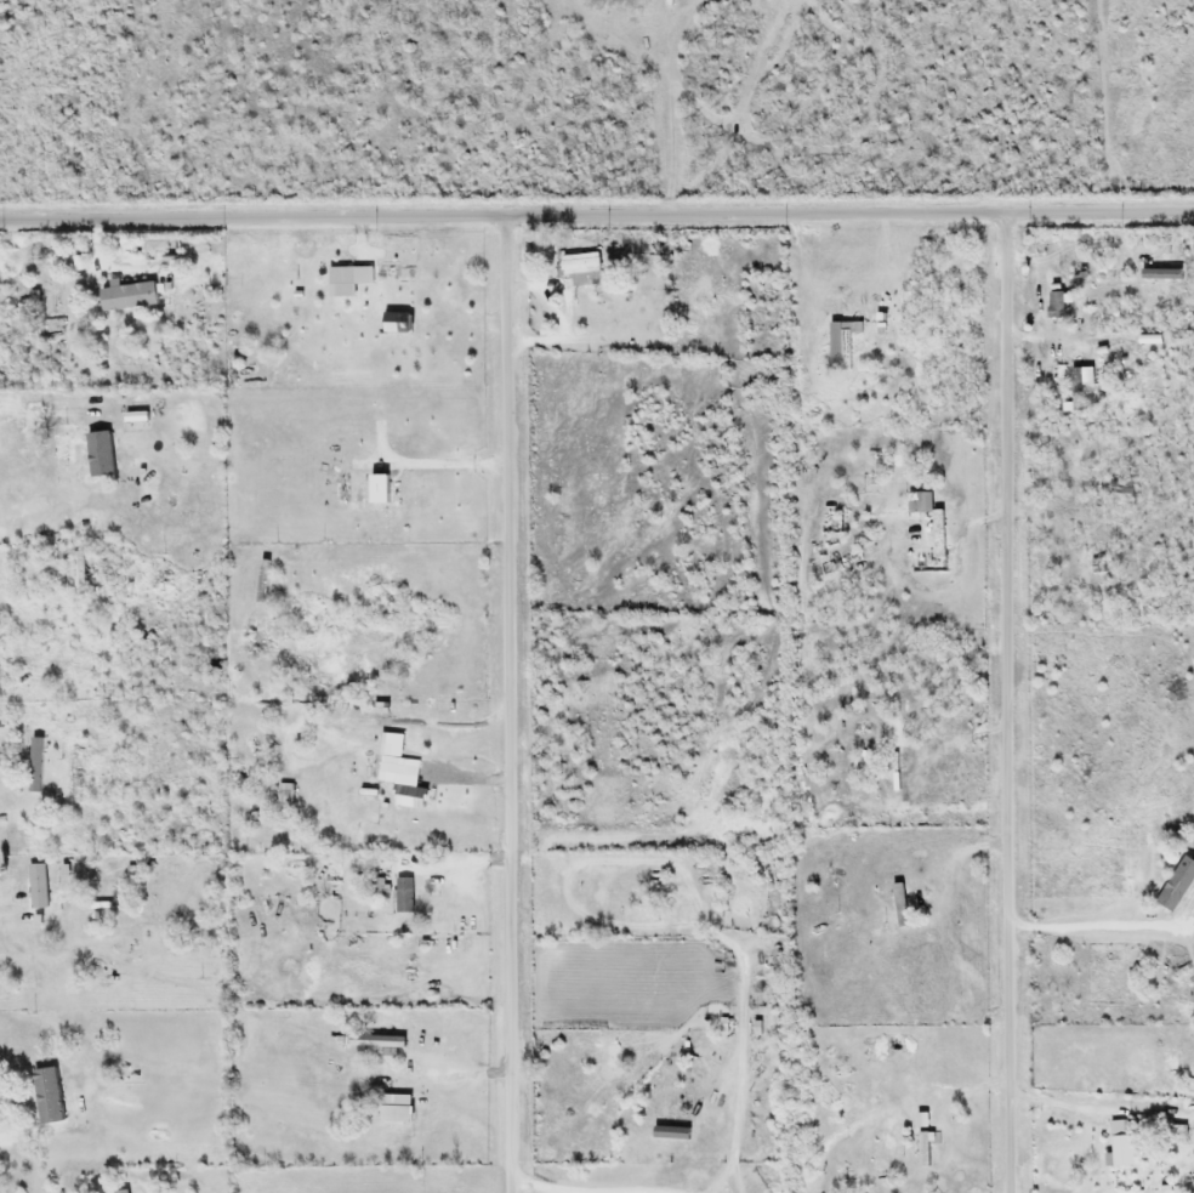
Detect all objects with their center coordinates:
building: (601, 1)
building: (635, 1)
road: (597, 215)
building: (584, 268)
building: (1080, 271)
building: (133, 294)
building: (846, 342)
building: (1078, 388)
building: (67, 448)
building: (940, 534)
building: (1098, 566)
building: (80, 572)
road: (1005, 703)
road: (505, 704)
building: (79, 772)
building: (411, 784)
building: (288, 796)
building: (40, 884)
building: (1179, 885)
building: (406, 893)
building: (113, 984)
building: (377, 1040)
building: (124, 1191)

